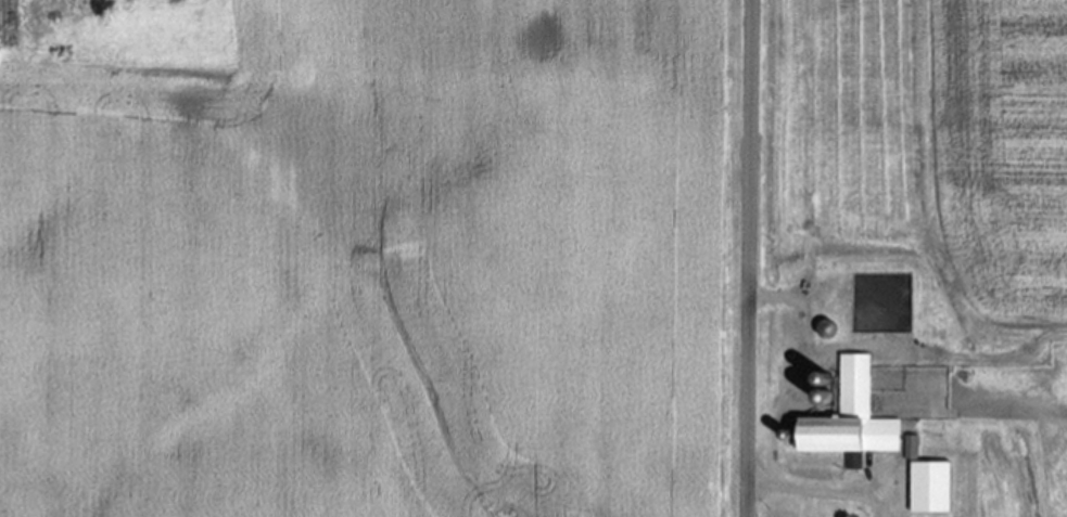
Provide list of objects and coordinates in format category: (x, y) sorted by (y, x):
road: (749, 258)
building: (849, 421)
road: (820, 490)
building: (928, 490)

